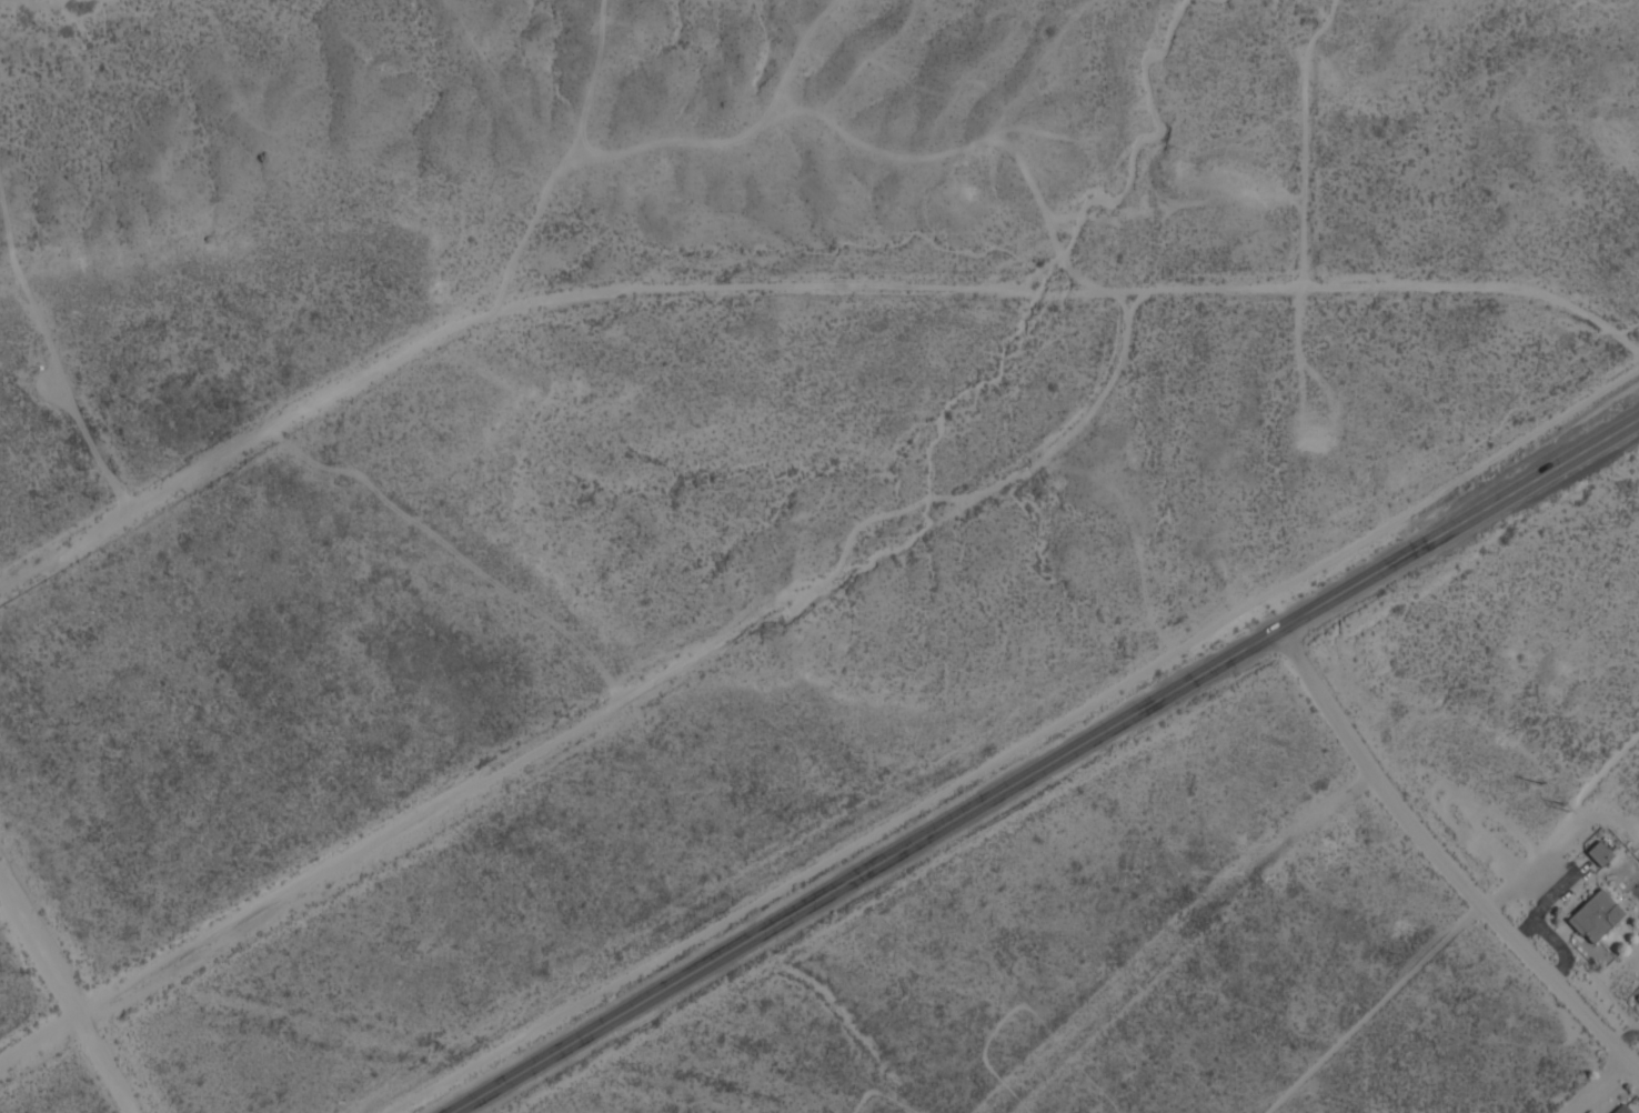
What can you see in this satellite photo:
road: (838, 283)
road: (1054, 771)
power tower: (1541, 786)
power tower: (1565, 809)
building: (1599, 854)
road: (1450, 865)
road: (331, 870)
building: (1595, 916)
road: (72, 991)
road: (1598, 1087)
building: (1621, 1110)

